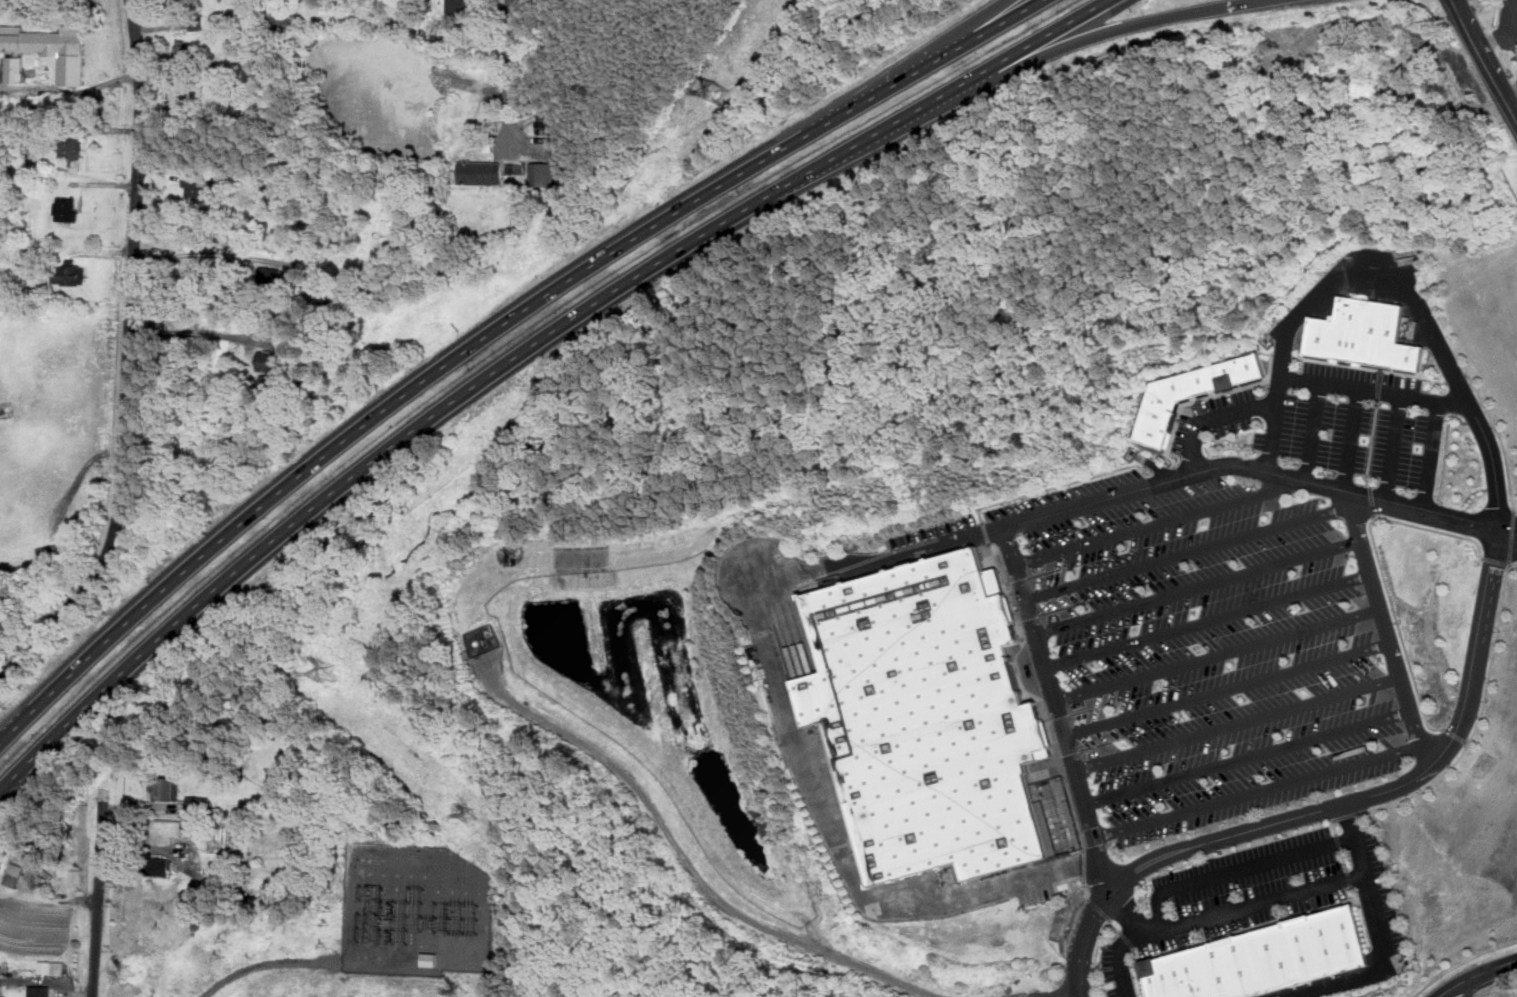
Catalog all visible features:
road: (1244, 3)
building: (456, 5)
building: (285, 20)
building: (196, 24)
road: (958, 31)
road: (1077, 41)
building: (1297, 42)
road: (1434, 42)
building: (51, 48)
building: (184, 49)
road: (1486, 58)
road: (508, 59)
building: (16, 69)
building: (1455, 95)
power tower: (714, 99)
building: (72, 148)
building: (515, 169)
building: (479, 173)
building: (541, 175)
building: (197, 184)
road: (1513, 188)
building: (66, 208)
road: (213, 253)
building: (70, 274)
building: (273, 276)
road: (1420, 308)
road: (491, 332)
road: (194, 334)
building: (1366, 334)
road: (523, 353)
building: (269, 360)
road: (128, 362)
road: (1378, 391)
building: (1194, 393)
building: (5, 414)
road: (1215, 420)
road: (1314, 431)
road: (1273, 436)
road: (1500, 437)
road: (1351, 439)
road: (1395, 448)
road: (1433, 456)
road: (79, 483)
road: (1516, 513)
road: (1160, 521)
road: (1510, 532)
road: (1513, 540)
building: (50, 550)
road: (1191, 552)
road: (1495, 562)
road: (842, 563)
road: (1512, 567)
road: (1382, 572)
road: (1201, 585)
road: (1210, 619)
road: (1390, 628)
road: (1220, 653)
road: (1491, 660)
power tower: (338, 672)
road: (1230, 687)
road: (1055, 695)
building: (929, 717)
road: (1239, 722)
road: (1453, 738)
road: (1249, 757)
building: (161, 789)
road: (1257, 789)
road: (1421, 791)
building: (833, 795)
building: (201, 805)
road: (1336, 806)
power tower: (472, 815)
road: (1348, 816)
road: (1335, 828)
road: (1339, 843)
road: (686, 860)
road: (1344, 861)
road: (1084, 864)
building: (160, 867)
road: (1240, 869)
building: (16, 870)
road: (1348, 879)
building: (12, 880)
road: (1087, 891)
road: (99, 899)
road: (1253, 901)
power substation: (418, 912)
road: (1101, 912)
road: (1248, 928)
road: (1116, 929)
road: (1381, 934)
road: (1131, 936)
road: (1129, 940)
road: (1098, 957)
building: (1265, 959)
building: (427, 960)
road: (1132, 961)
road: (1462, 961)
road: (300, 963)
building: (50, 968)
power tower: (132, 975)
road: (1477, 975)
road: (1461, 990)
building: (2, 991)
power tower: (462, 991)
building: (38, 992)
road: (1071, 996)

